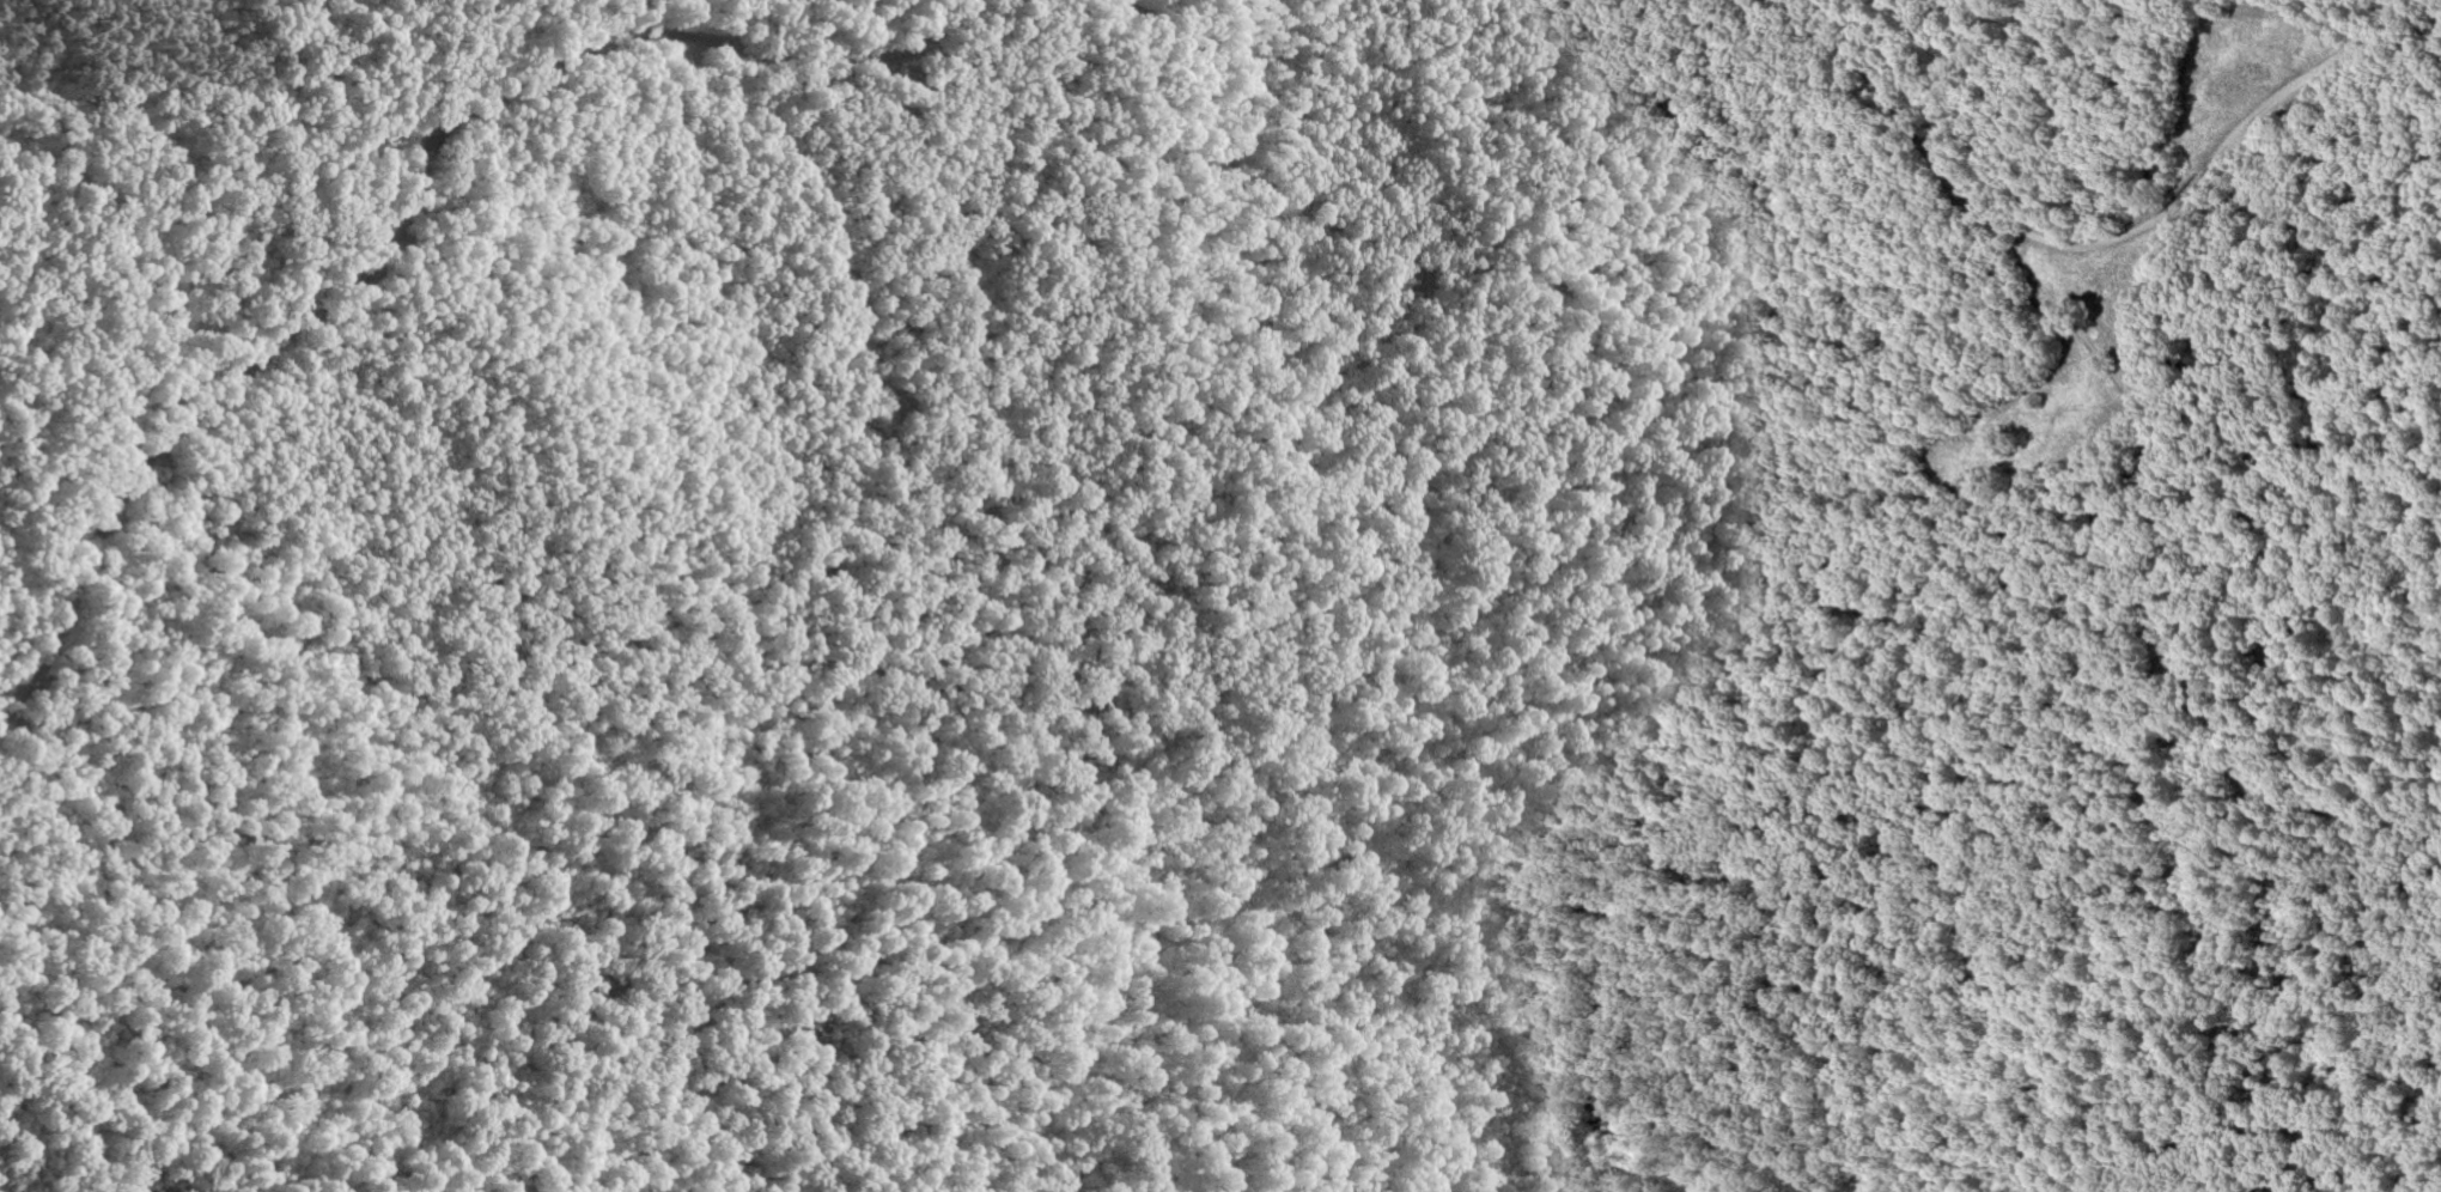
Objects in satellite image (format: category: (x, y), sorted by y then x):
road: (406, 217)
road: (2105, 241)

